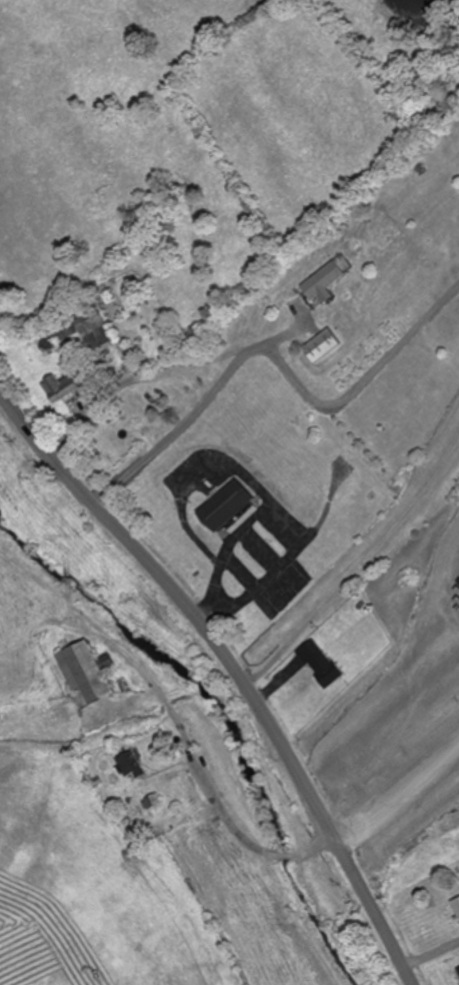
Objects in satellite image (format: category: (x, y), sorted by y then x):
building: (323, 282)
building: (85, 326)
building: (322, 345)
road: (275, 356)
building: (61, 386)
building: (225, 506)
building: (320, 664)
road: (233, 669)
building: (87, 671)
building: (129, 766)
building: (456, 908)
building: (458, 969)

